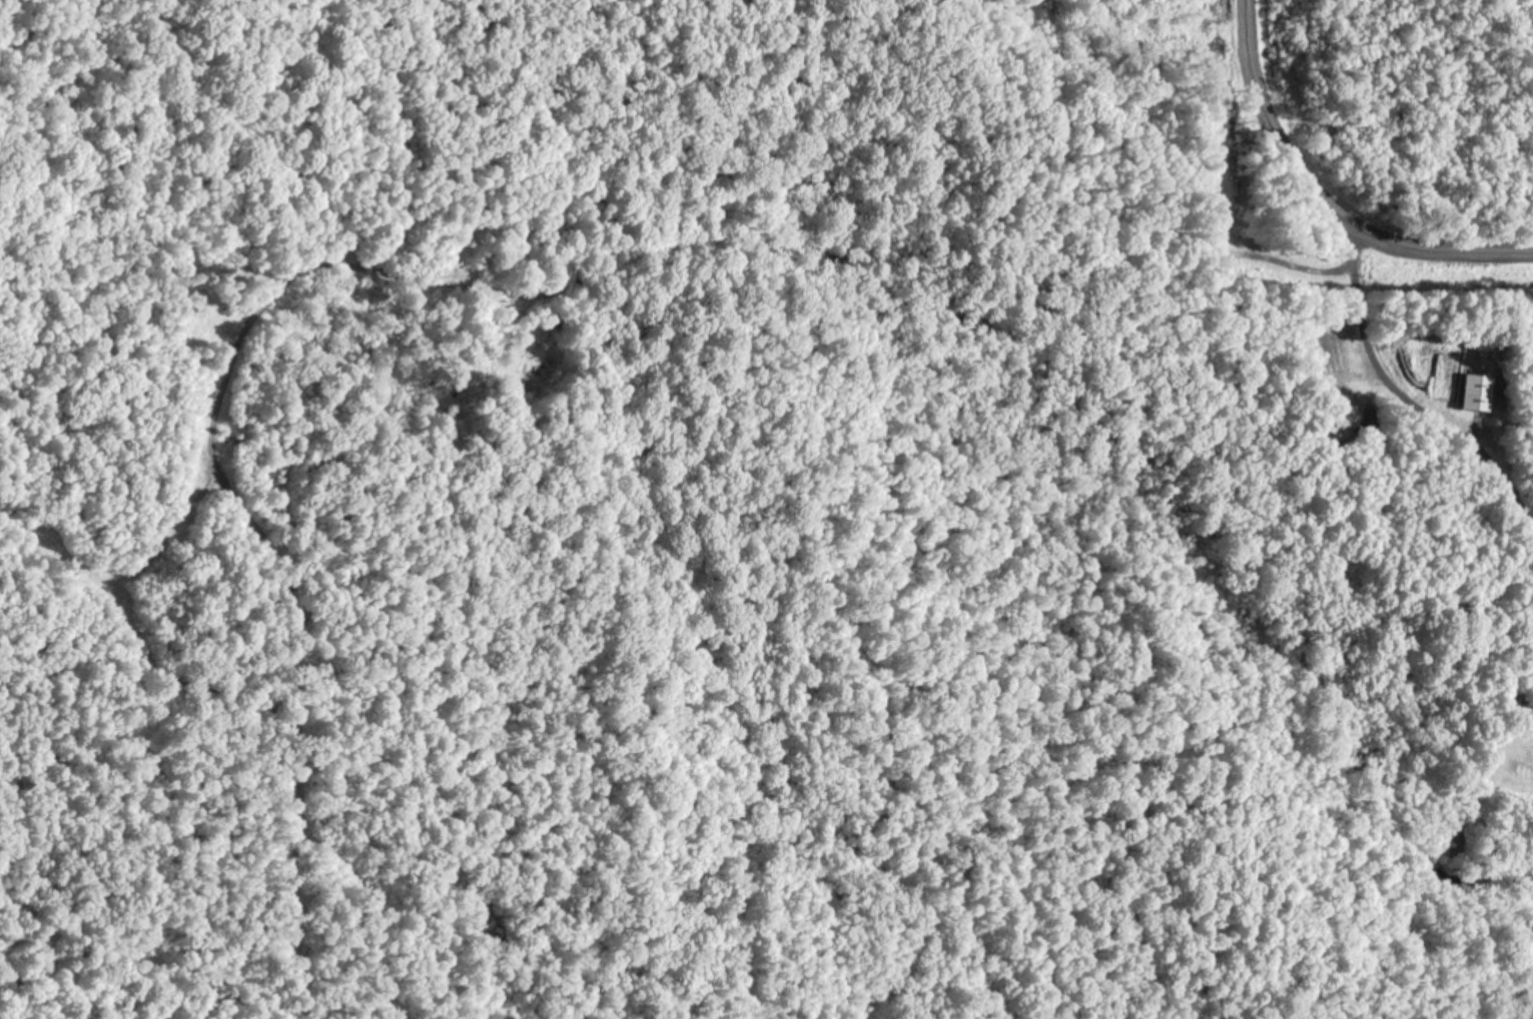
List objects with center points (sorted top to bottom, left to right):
road: (1319, 204)
building: (1472, 393)
road: (1408, 405)
building: (1340, 417)
building: (1531, 724)

